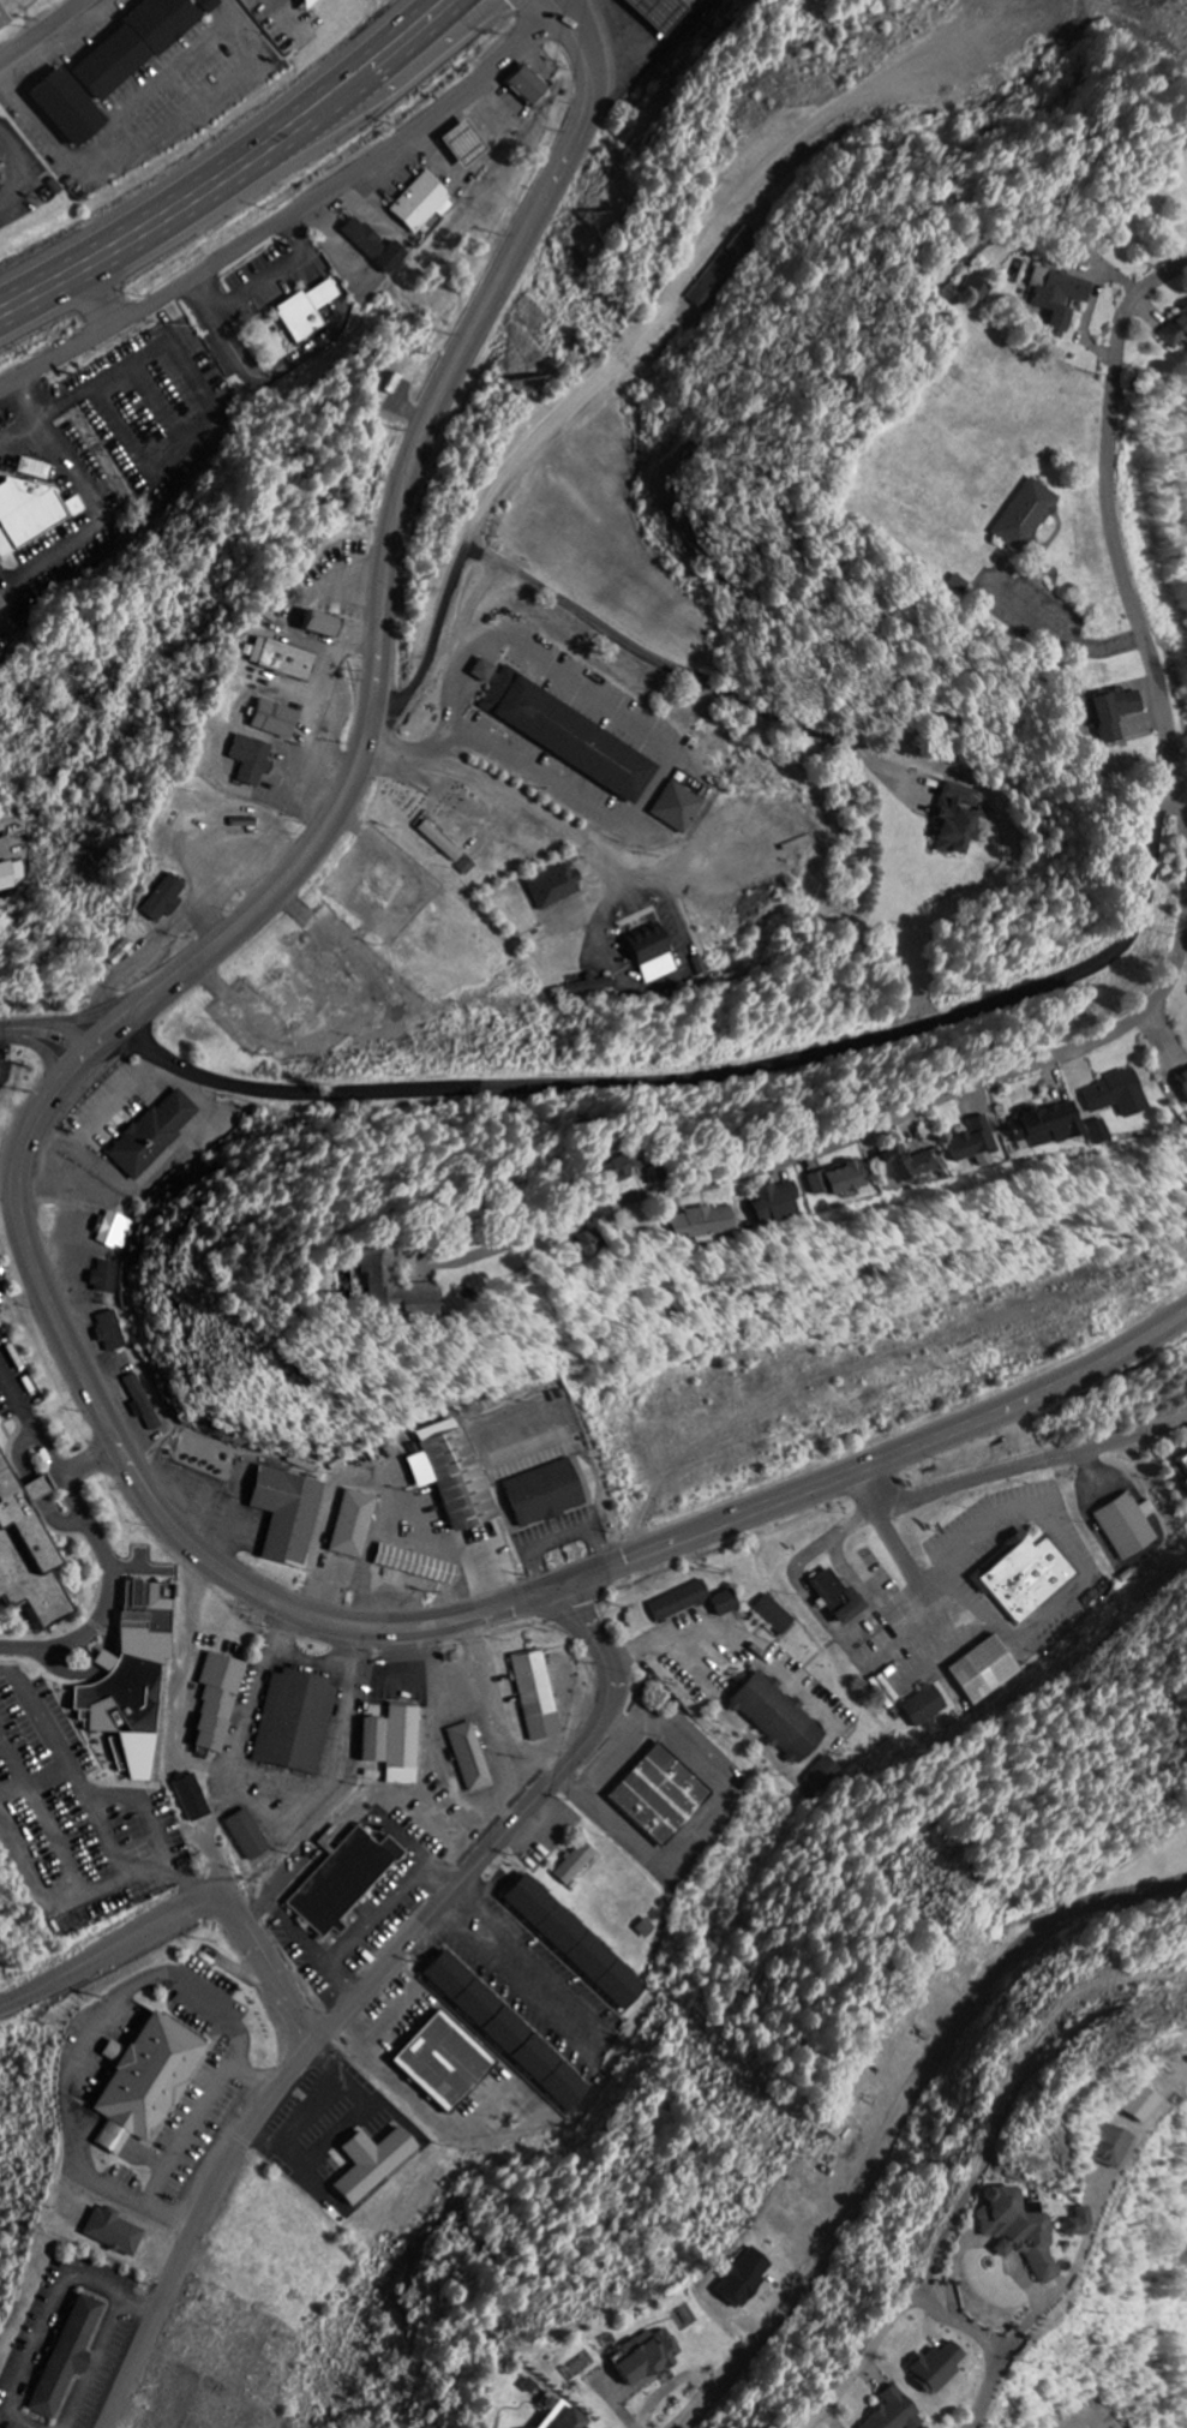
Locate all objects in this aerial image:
building: (312, 2)
building: (306, 4)
building: (660, 10)
gas station: (660, 10)
road: (427, 16)
road: (437, 16)
building: (4, 22)
road: (41, 29)
building: (139, 44)
building: (529, 88)
building: (68, 109)
building: (462, 138)
gas station: (462, 138)
road: (215, 183)
building: (421, 204)
road: (290, 221)
building: (377, 249)
building: (977, 291)
building: (1059, 298)
building: (308, 312)
building: (1175, 333)
road: (270, 479)
building: (28, 515)
building: (1027, 516)
road: (1108, 518)
road: (395, 546)
building: (1, 608)
building: (323, 627)
building: (283, 660)
building: (1114, 716)
building: (276, 722)
building: (566, 735)
building: (252, 761)
road: (497, 785)
building: (679, 809)
road: (1183, 811)
building: (960, 820)
road: (11, 833)
building: (448, 849)
building: (12, 875)
building: (556, 889)
building: (164, 901)
building: (653, 956)
road: (681, 976)
building: (593, 989)
road: (56, 1034)
road: (703, 1078)
building: (1183, 1078)
building: (1117, 1094)
road: (879, 1124)
building: (1049, 1125)
building: (1097, 1131)
building: (156, 1134)
building: (979, 1143)
building: (913, 1160)
building: (627, 1166)
building: (666, 1173)
building: (847, 1177)
building: (786, 1198)
building: (712, 1220)
building: (116, 1231)
building: (600, 1239)
building: (106, 1278)
building: (409, 1284)
building: (112, 1332)
power tower: (233, 1382)
building: (148, 1409)
road: (91, 1457)
building: (1182, 1459)
building: (454, 1473)
building: (1185, 1483)
building: (546, 1494)
building: (288, 1515)
building: (354, 1525)
building: (1128, 1526)
road: (92, 1538)
building: (26, 1553)
building: (418, 1566)
building: (1026, 1578)
building: (839, 1598)
building: (681, 1602)
building: (726, 1603)
building: (775, 1616)
road: (422, 1620)
building: (984, 1670)
building: (132, 1680)
building: (538, 1697)
building: (218, 1702)
building: (925, 1708)
building: (779, 1718)
building: (296, 1722)
building: (395, 1745)
building: (470, 1758)
building: (661, 1796)
building: (192, 1798)
building: (248, 1836)
building: (577, 1865)
building: (344, 1882)
building: (576, 1944)
road: (116, 1946)
road: (276, 1962)
road: (376, 1984)
building: (509, 2033)
power tower: (1156, 2038)
building: (445, 2063)
building: (146, 2083)
building: (1156, 2106)
building: (1123, 2149)
building: (373, 2165)
building: (1089, 2226)
building: (115, 2233)
building: (1030, 2233)
building: (745, 2280)
building: (68, 2355)
building: (648, 2356)
building: (943, 2370)
road: (990, 2384)
road: (711, 2393)
building: (900, 2410)
building: (568, 2420)

